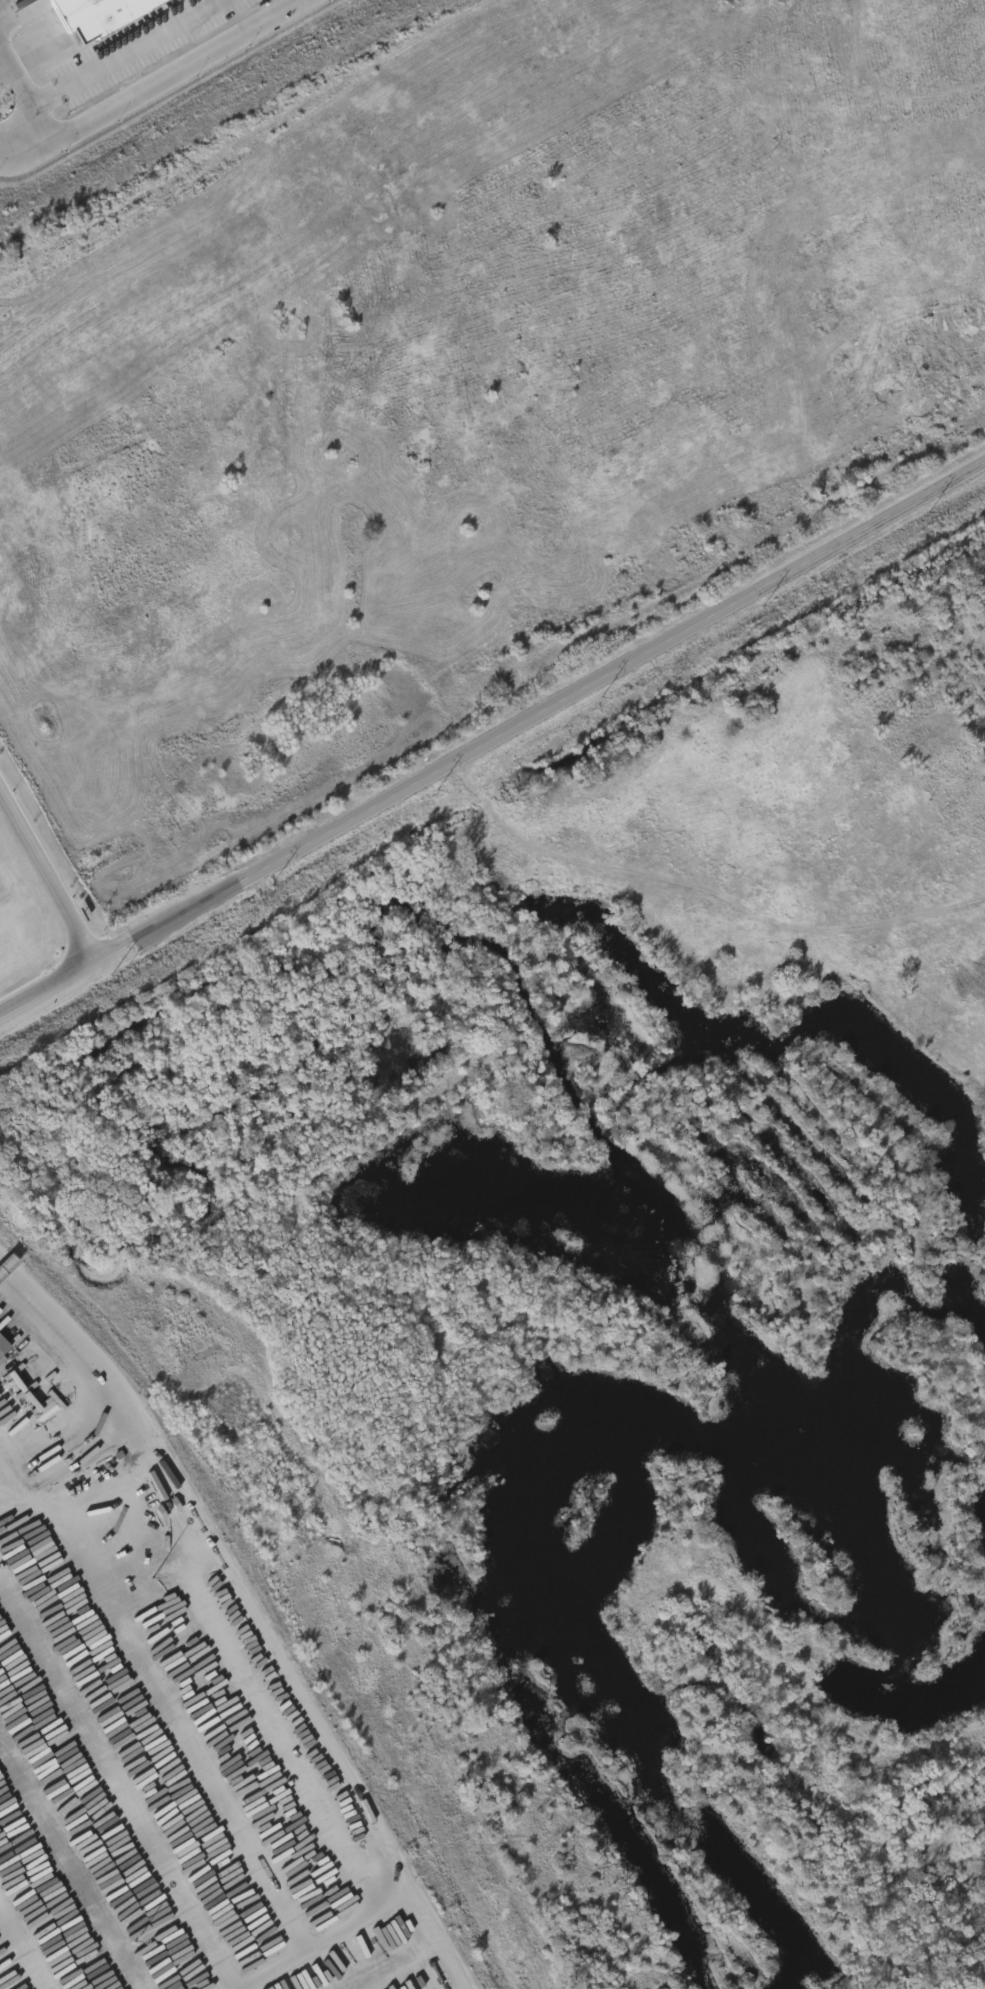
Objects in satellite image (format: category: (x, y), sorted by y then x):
building: (99, 16)
road: (97, 63)
road: (159, 90)
road: (536, 710)
road: (44, 883)
road: (705, 885)
road: (45, 991)
road: (5, 1270)
building: (1, 1333)
road: (71, 1342)
building: (3, 1346)
road: (65, 1449)
road: (7, 1465)
road: (317, 1723)
road: (428, 1930)

